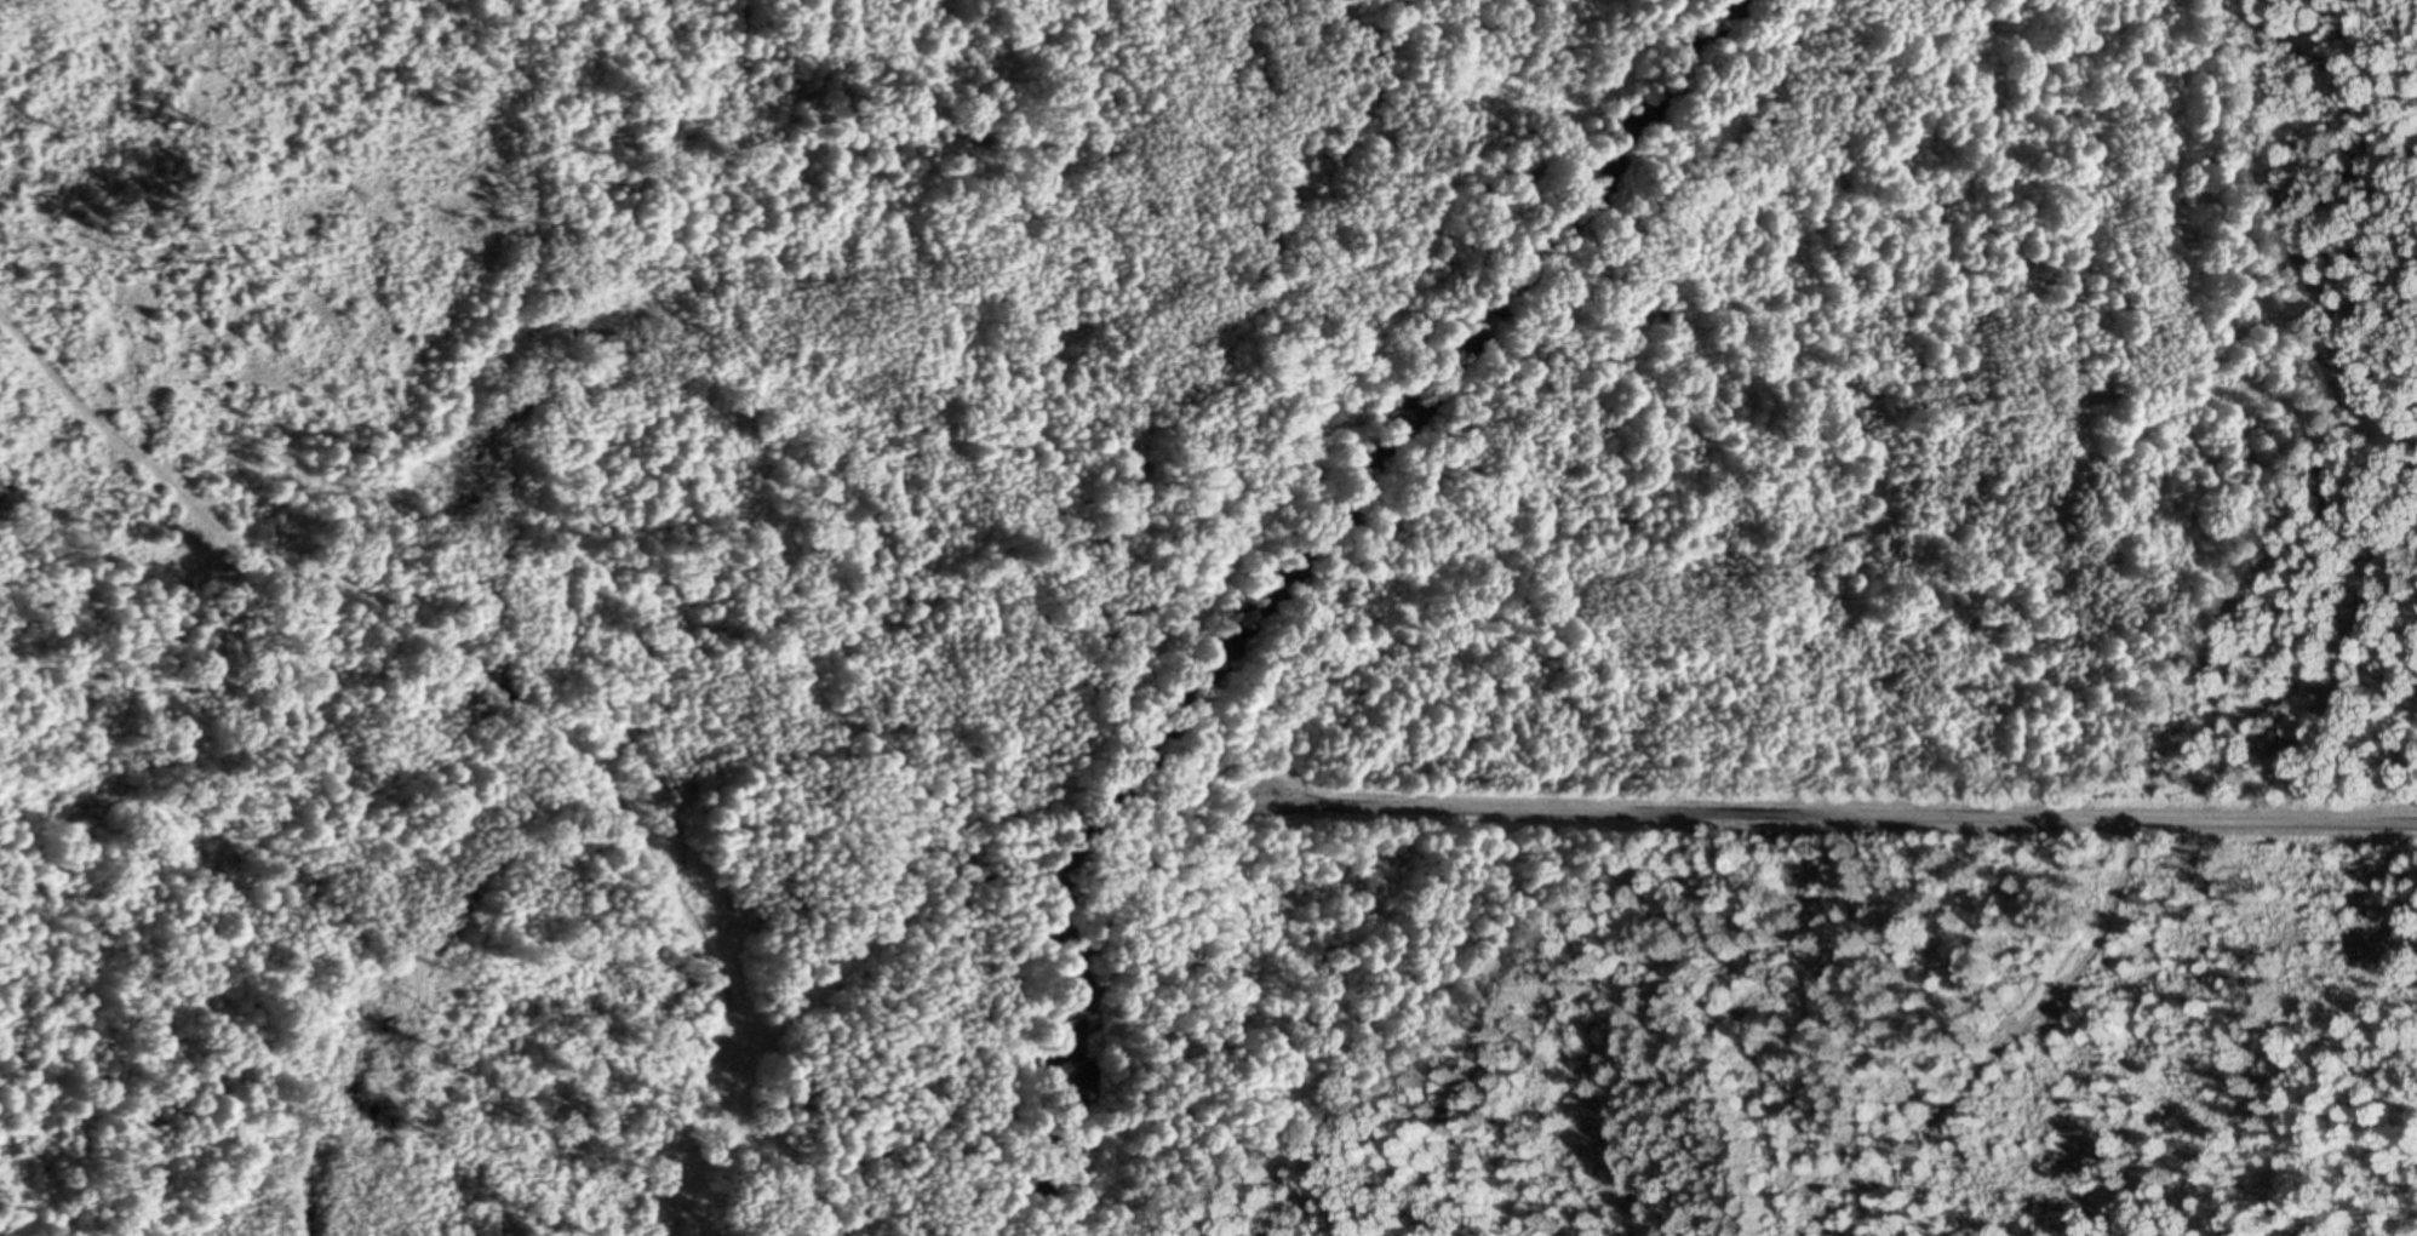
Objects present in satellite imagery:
road: (1193, 599)
road: (1855, 814)

